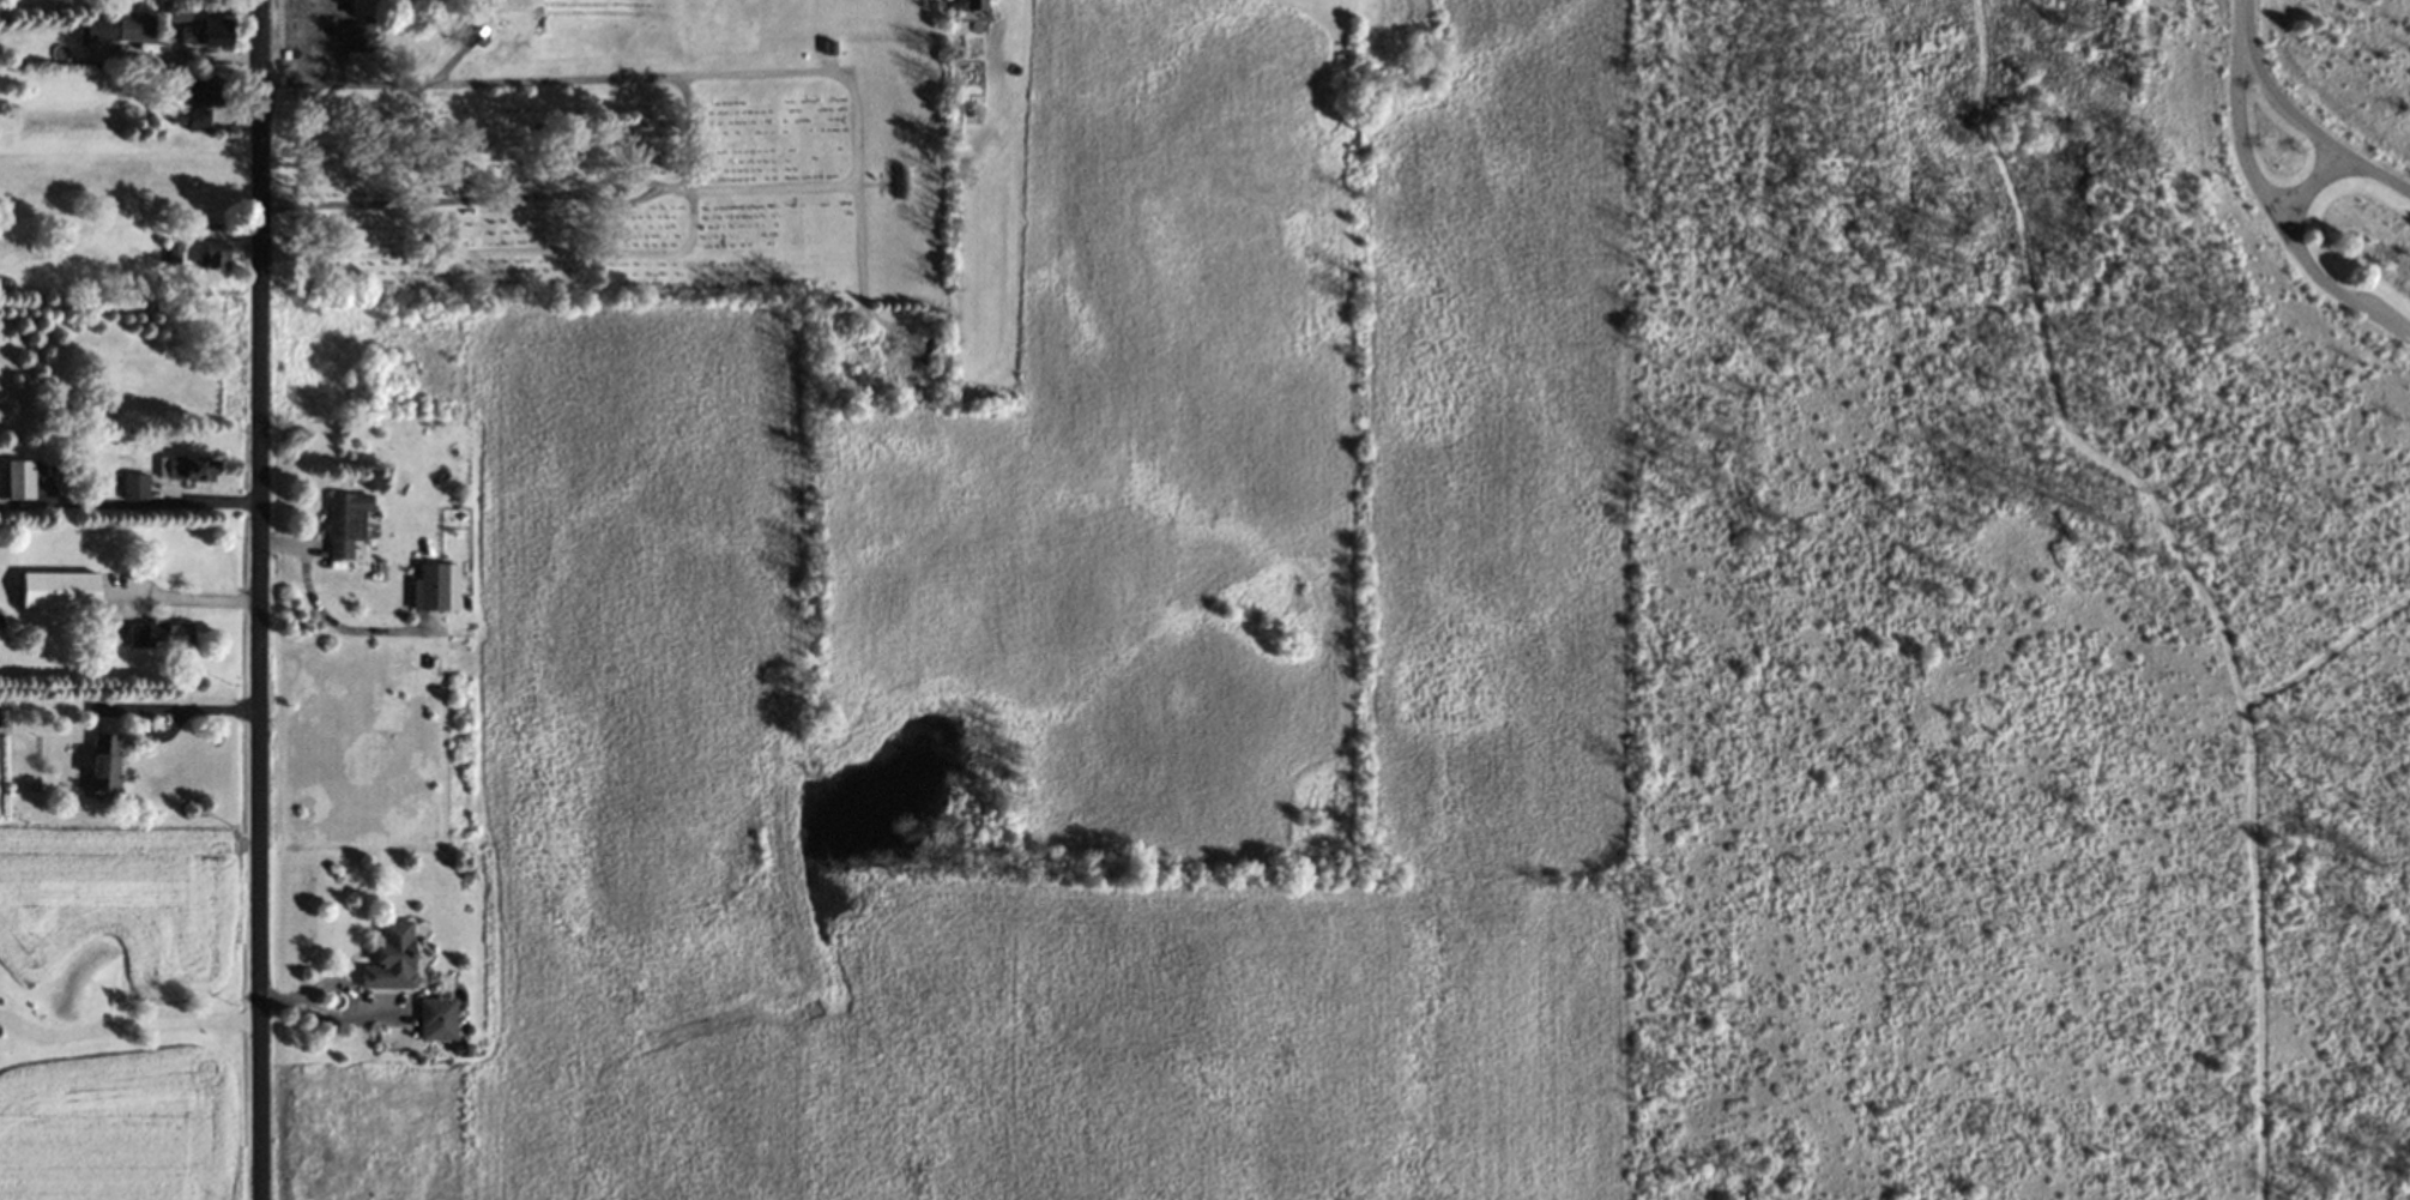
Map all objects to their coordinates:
building: (968, 7)
building: (1420, 12)
road: (2237, 25)
building: (116, 28)
building: (209, 31)
building: (357, 37)
building: (195, 113)
road: (2319, 123)
road: (2313, 182)
road: (2279, 219)
building: (211, 255)
building: (186, 466)
building: (19, 483)
building: (133, 486)
building: (345, 523)
building: (428, 587)
building: (58, 591)
road: (191, 595)
road: (262, 599)
building: (159, 635)
road: (164, 702)
building: (104, 765)
building: (389, 958)
building: (435, 1013)
road: (127, 1020)

